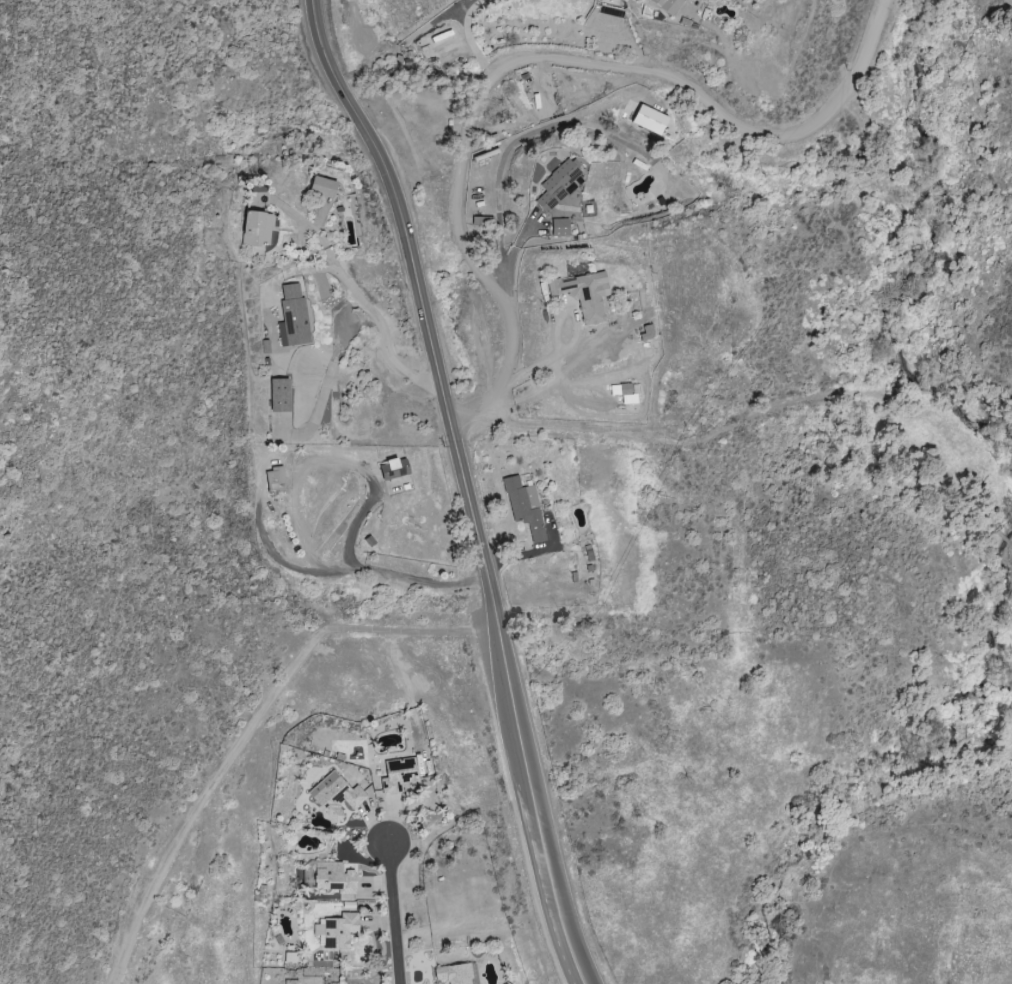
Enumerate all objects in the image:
building: (667, 5)
road: (469, 39)
road: (537, 58)
building: (649, 120)
road: (505, 153)
building: (555, 186)
building: (322, 187)
building: (568, 204)
building: (559, 227)
building: (256, 229)
building: (583, 295)
road: (375, 314)
building: (292, 318)
building: (278, 395)
building: (392, 468)
building: (274, 479)
road: (463, 485)
building: (523, 507)
road: (296, 518)
road: (252, 726)
building: (398, 775)
building: (335, 795)
building: (333, 877)
road: (391, 915)
building: (336, 931)
building: (290, 959)
building: (453, 974)
building: (290, 982)

